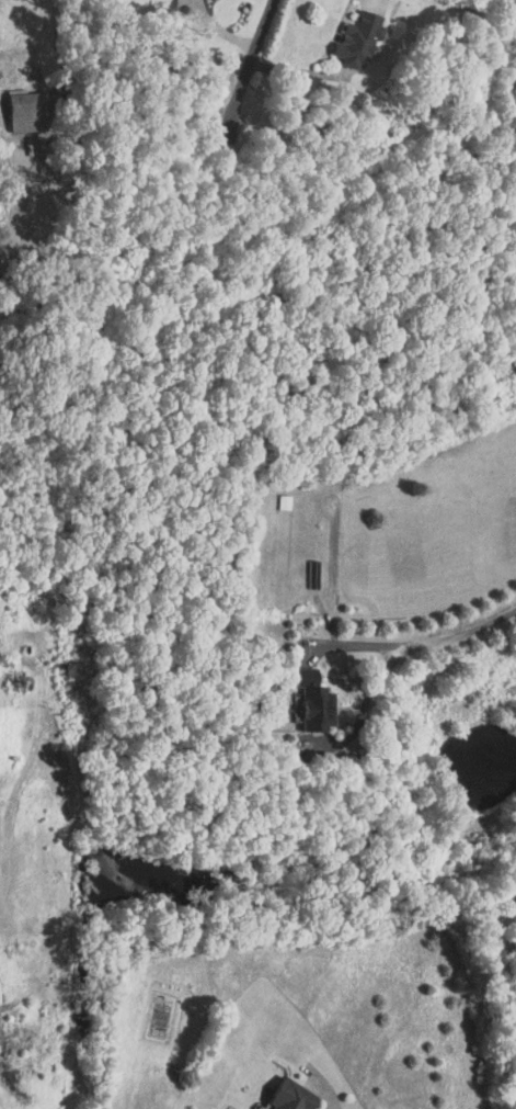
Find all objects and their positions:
road: (379, 2)
building: (346, 31)
road: (252, 66)
building: (16, 104)
road: (394, 653)
building: (302, 694)
building: (277, 1091)

